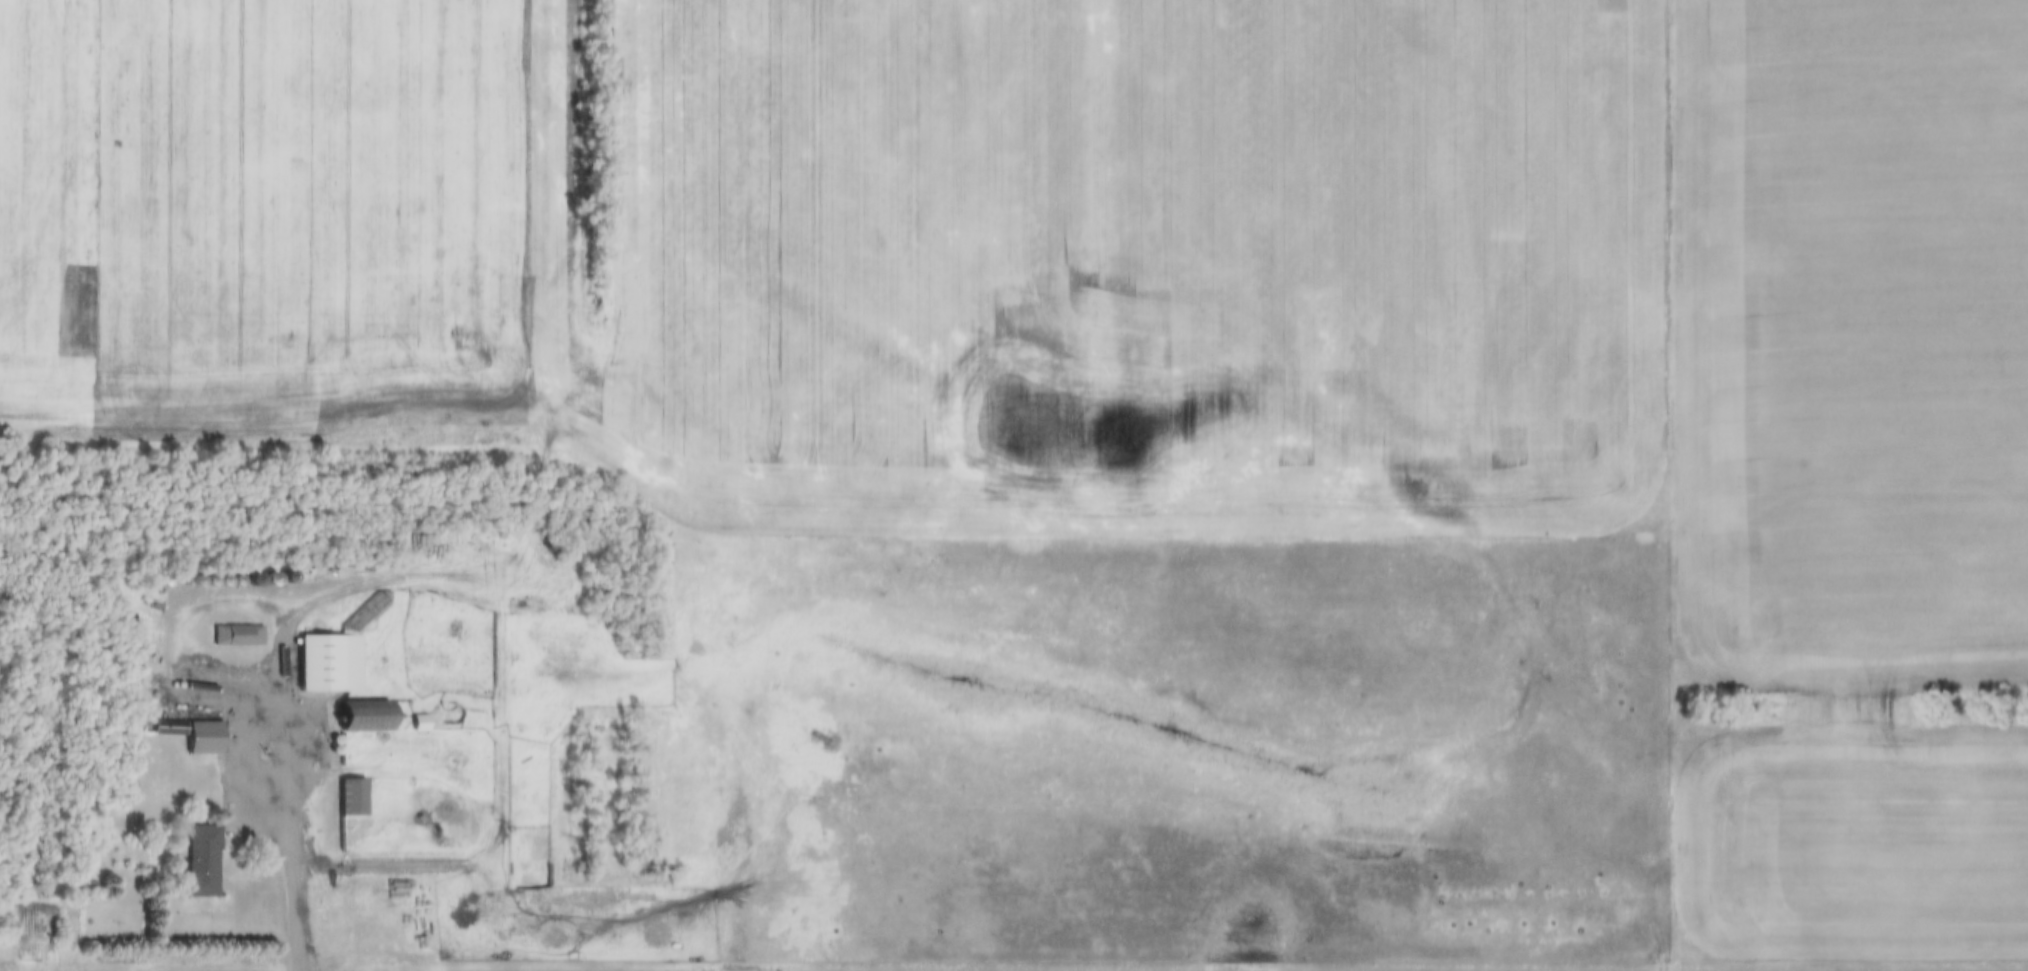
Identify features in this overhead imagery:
road: (1667, 485)
building: (236, 634)
building: (327, 661)
road: (282, 715)
building: (363, 716)
building: (191, 733)
building: (350, 797)
building: (201, 860)

